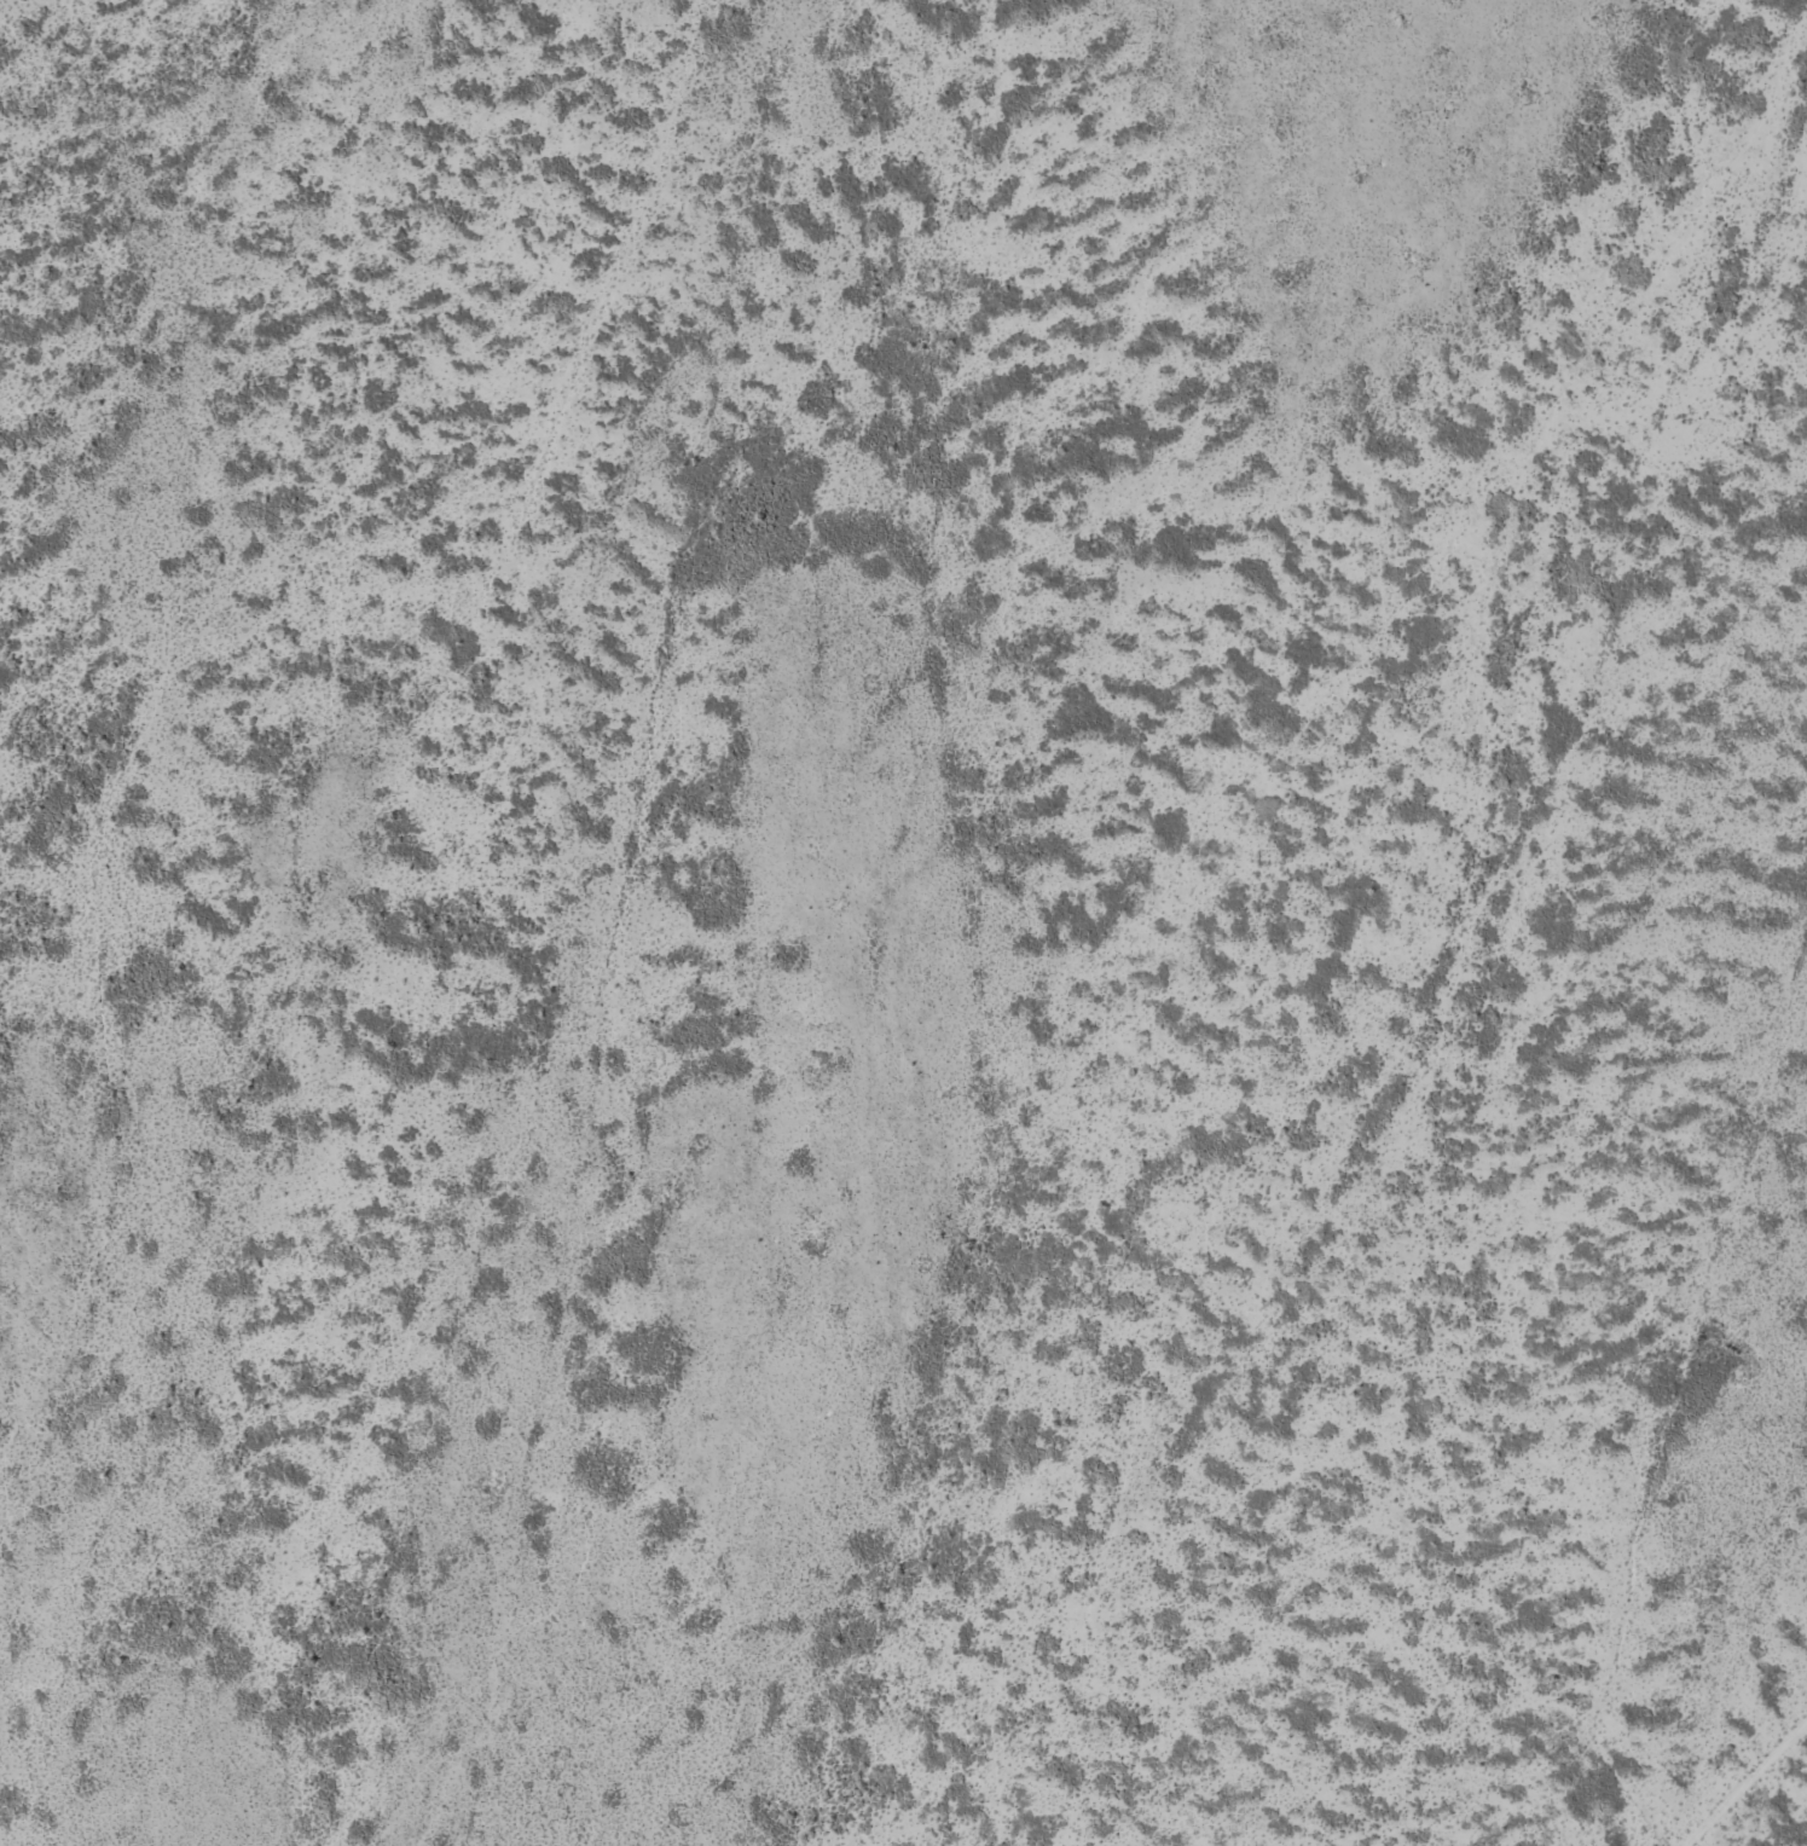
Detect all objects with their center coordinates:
road: (1749, 1598)

